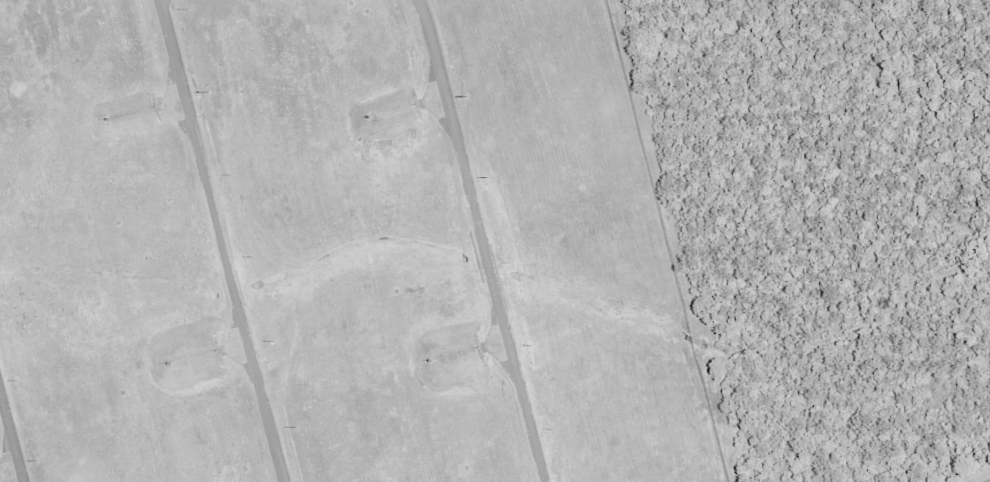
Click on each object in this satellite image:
road: (484, 240)
road: (222, 241)
road: (11, 436)

